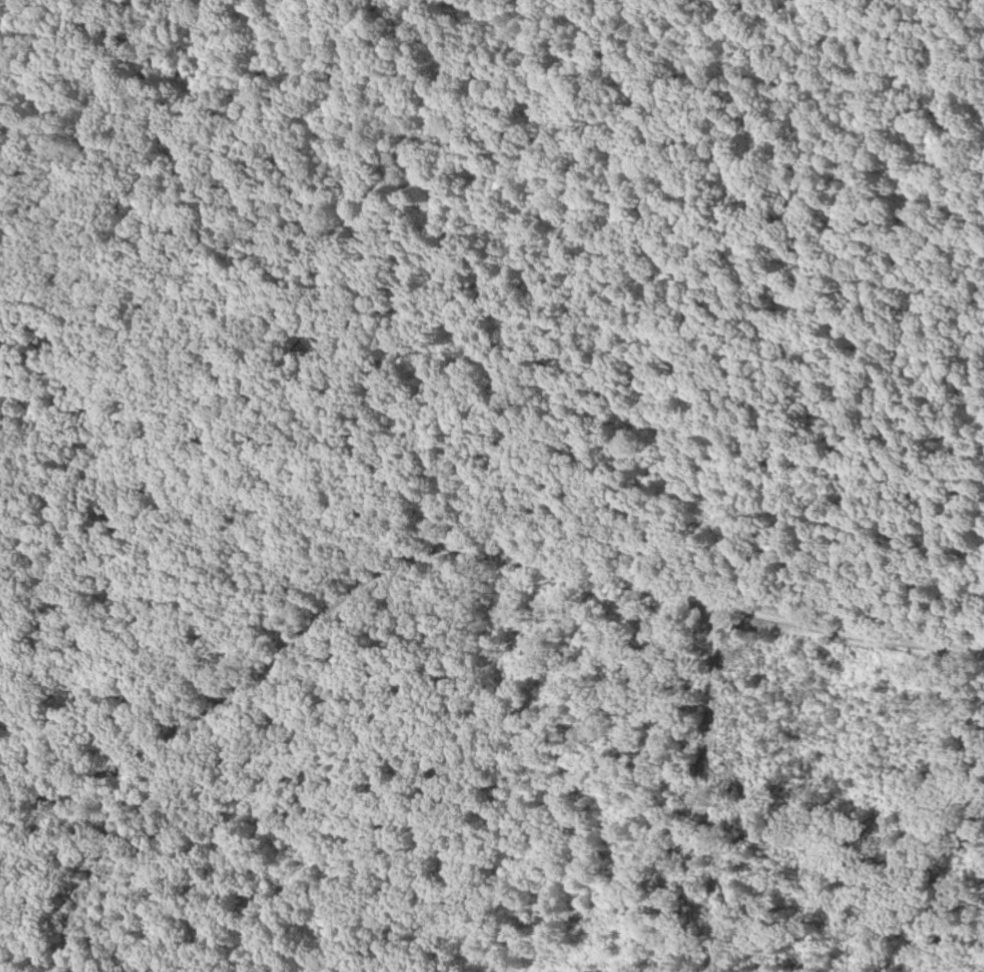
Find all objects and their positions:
road: (457, 557)
road: (13, 800)

